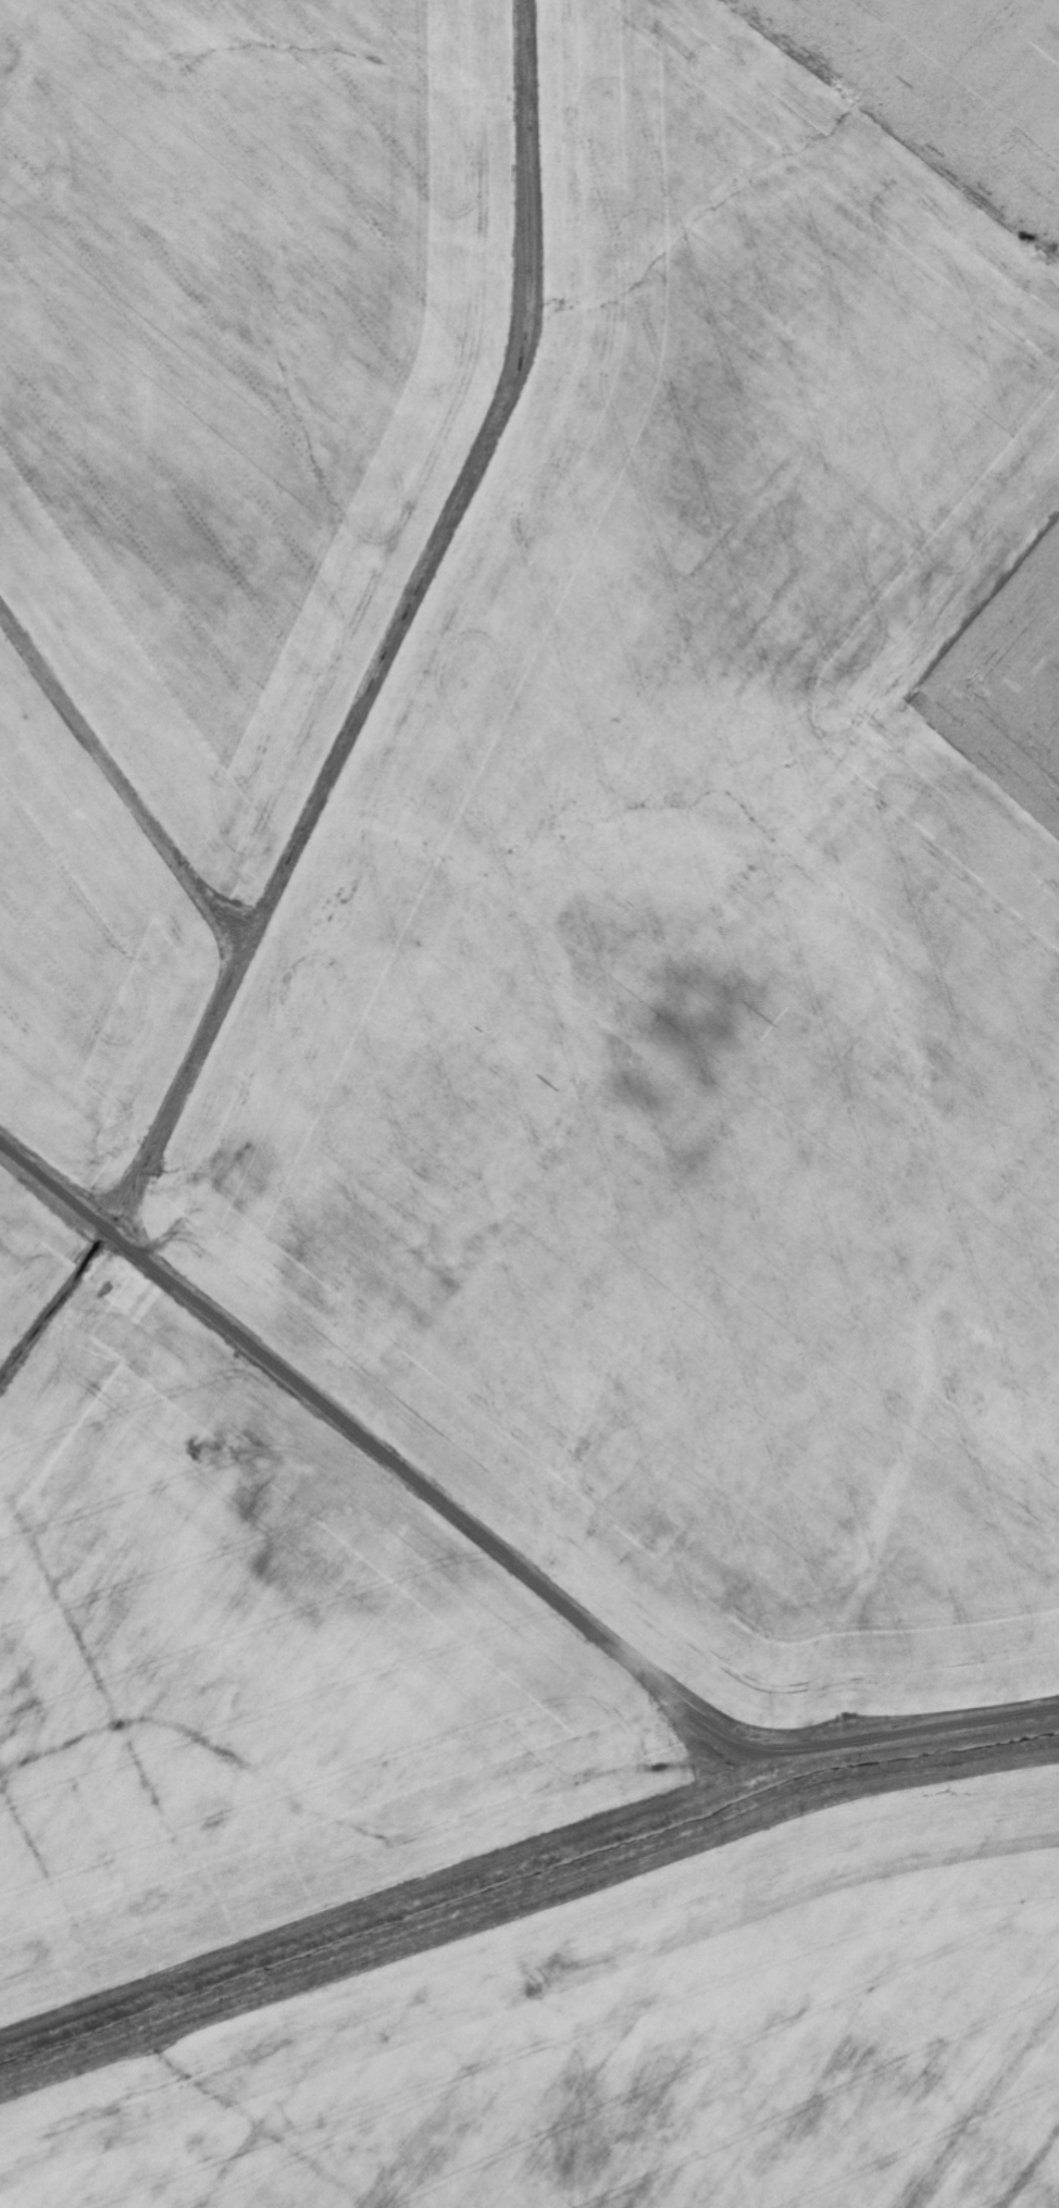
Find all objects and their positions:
road: (494, 1546)

